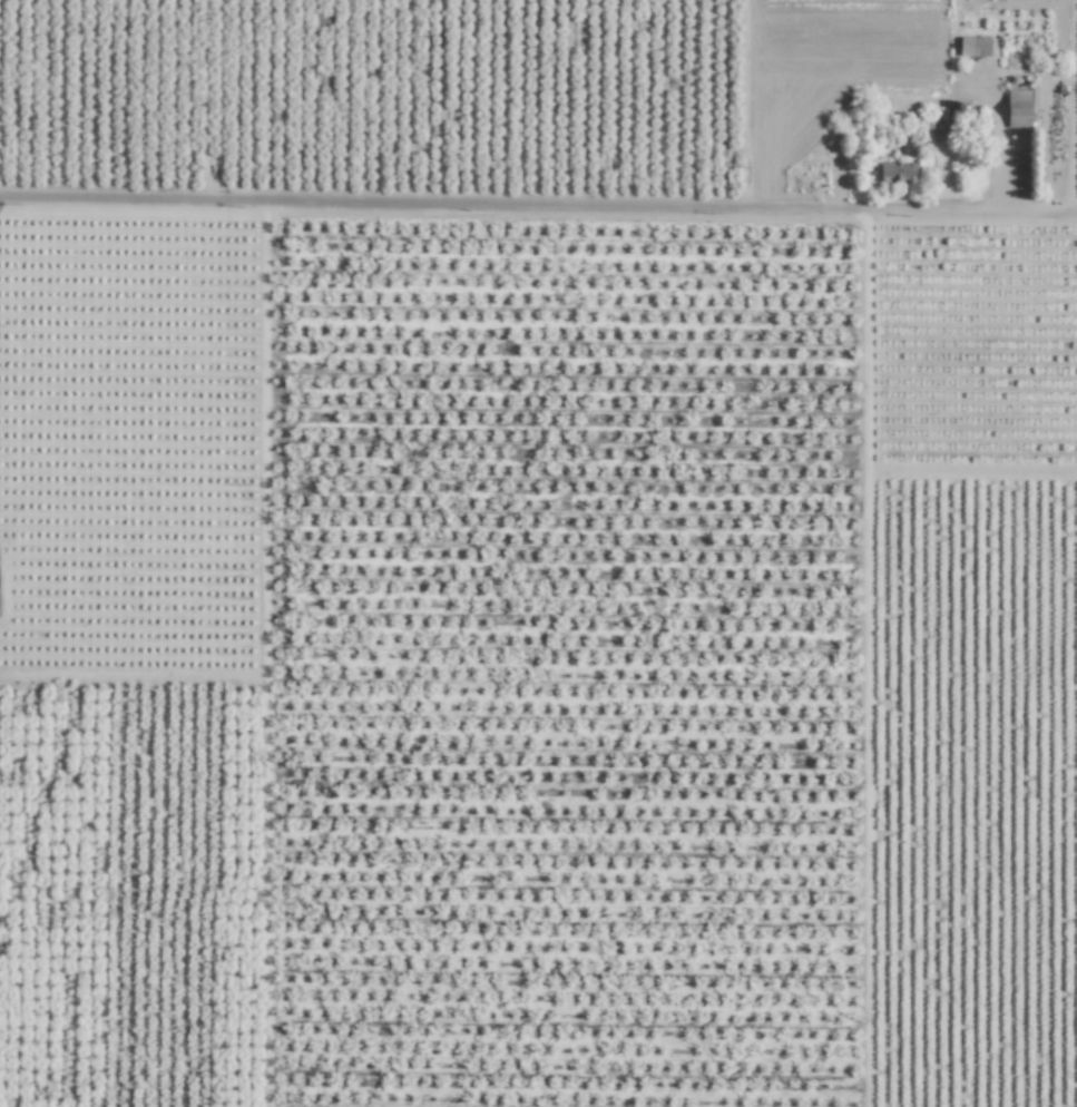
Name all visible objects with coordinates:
building: (970, 48)
building: (1018, 108)
building: (895, 172)
road: (538, 213)
road: (129, 676)

